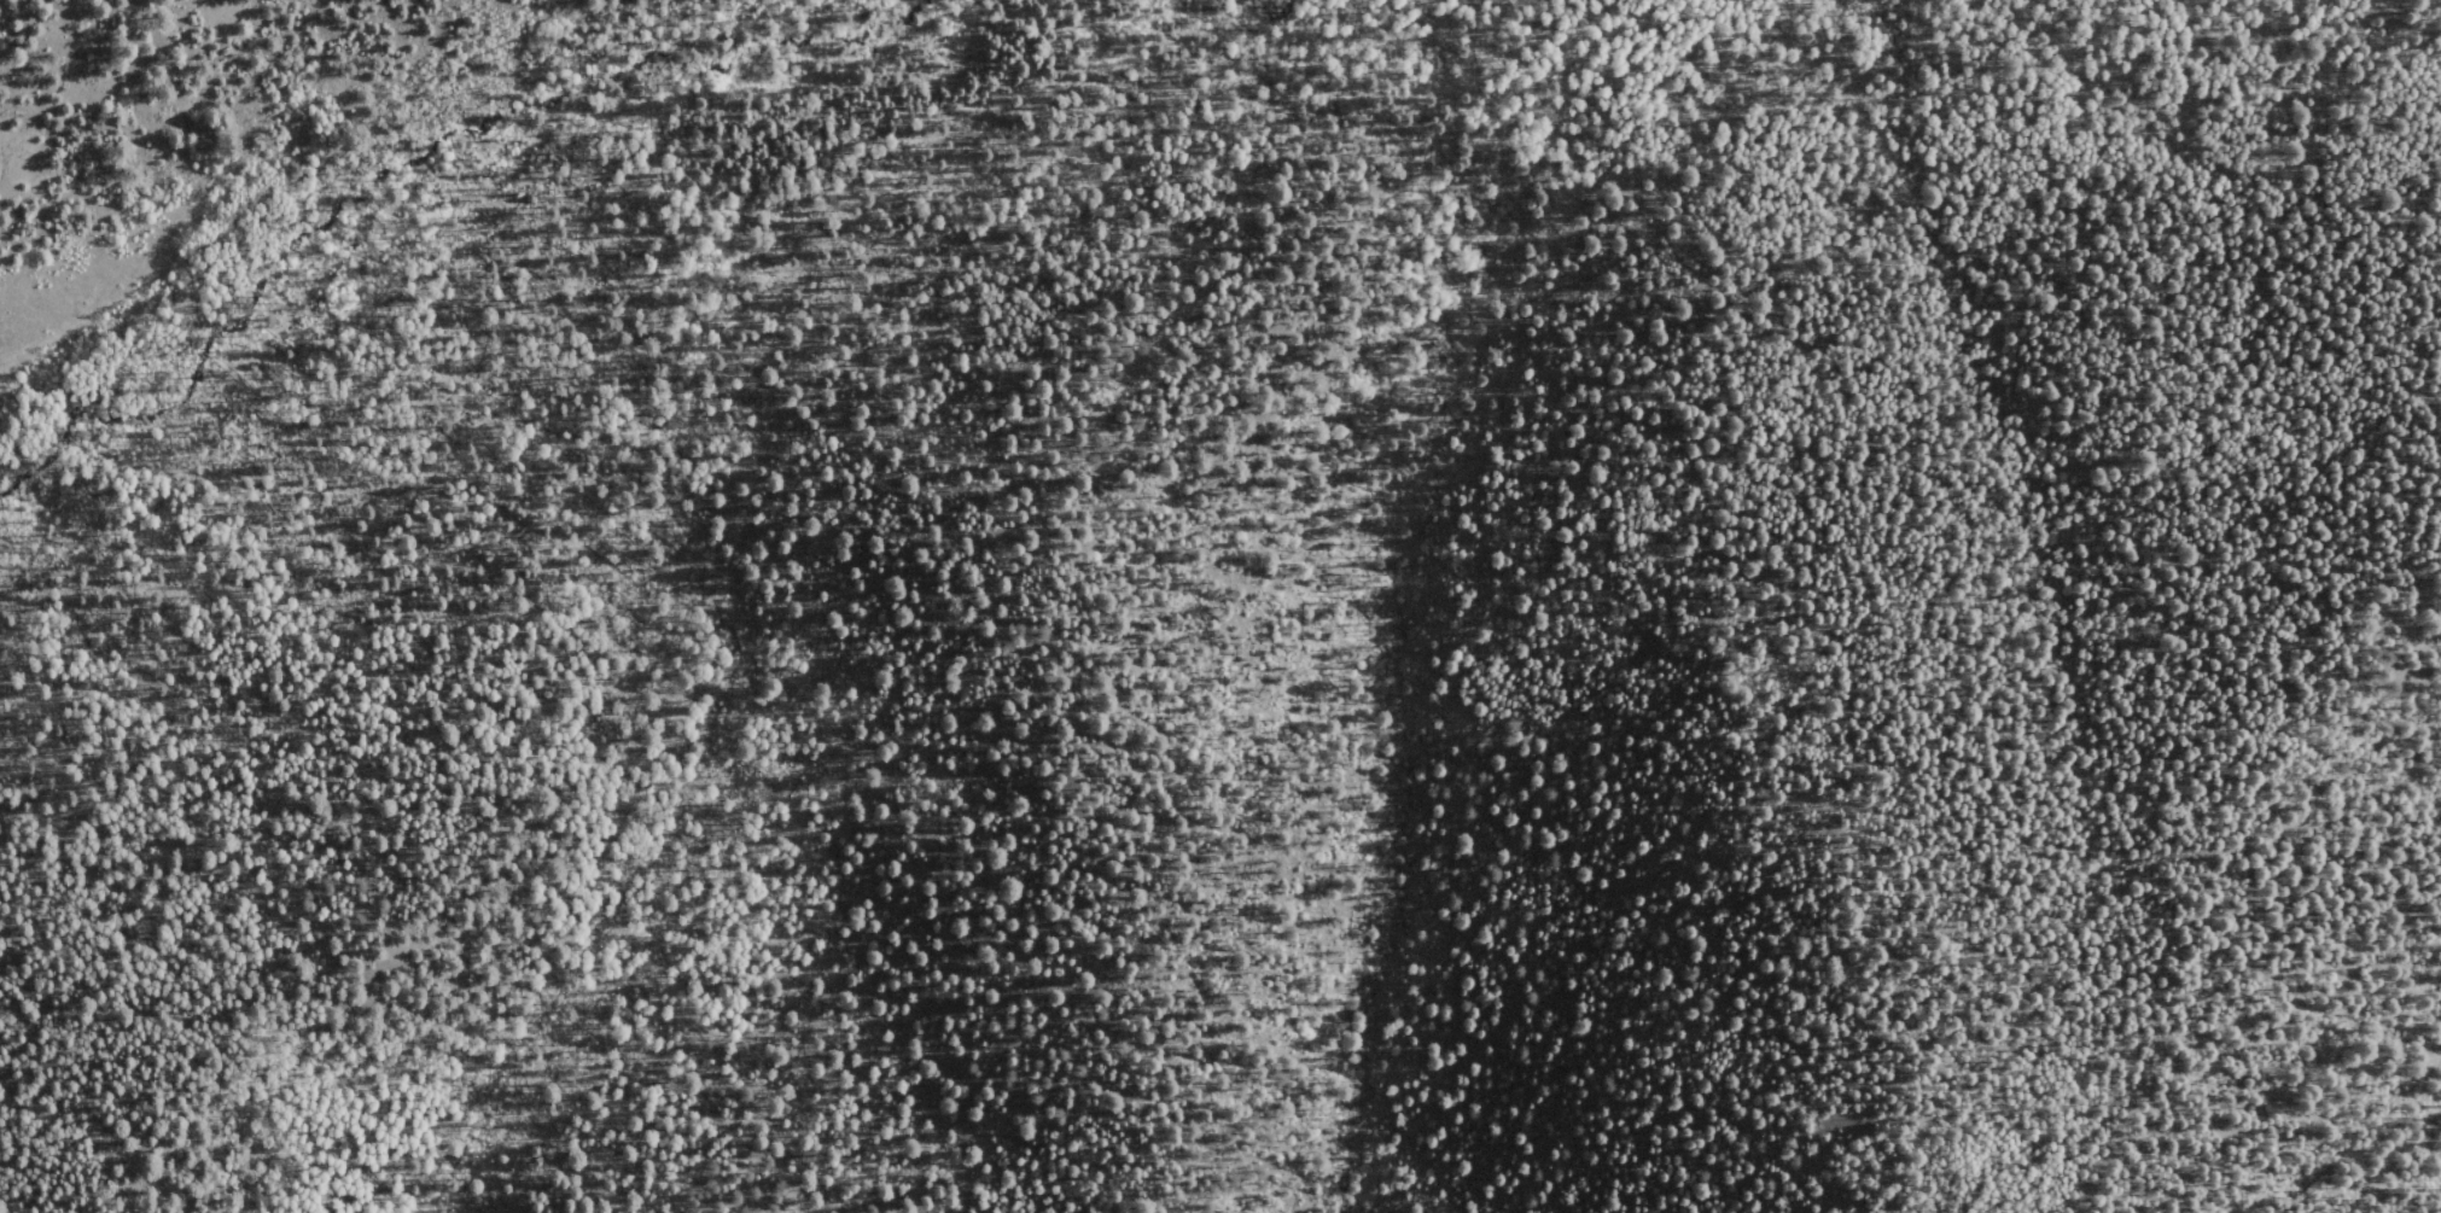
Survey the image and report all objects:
road: (647, 62)

